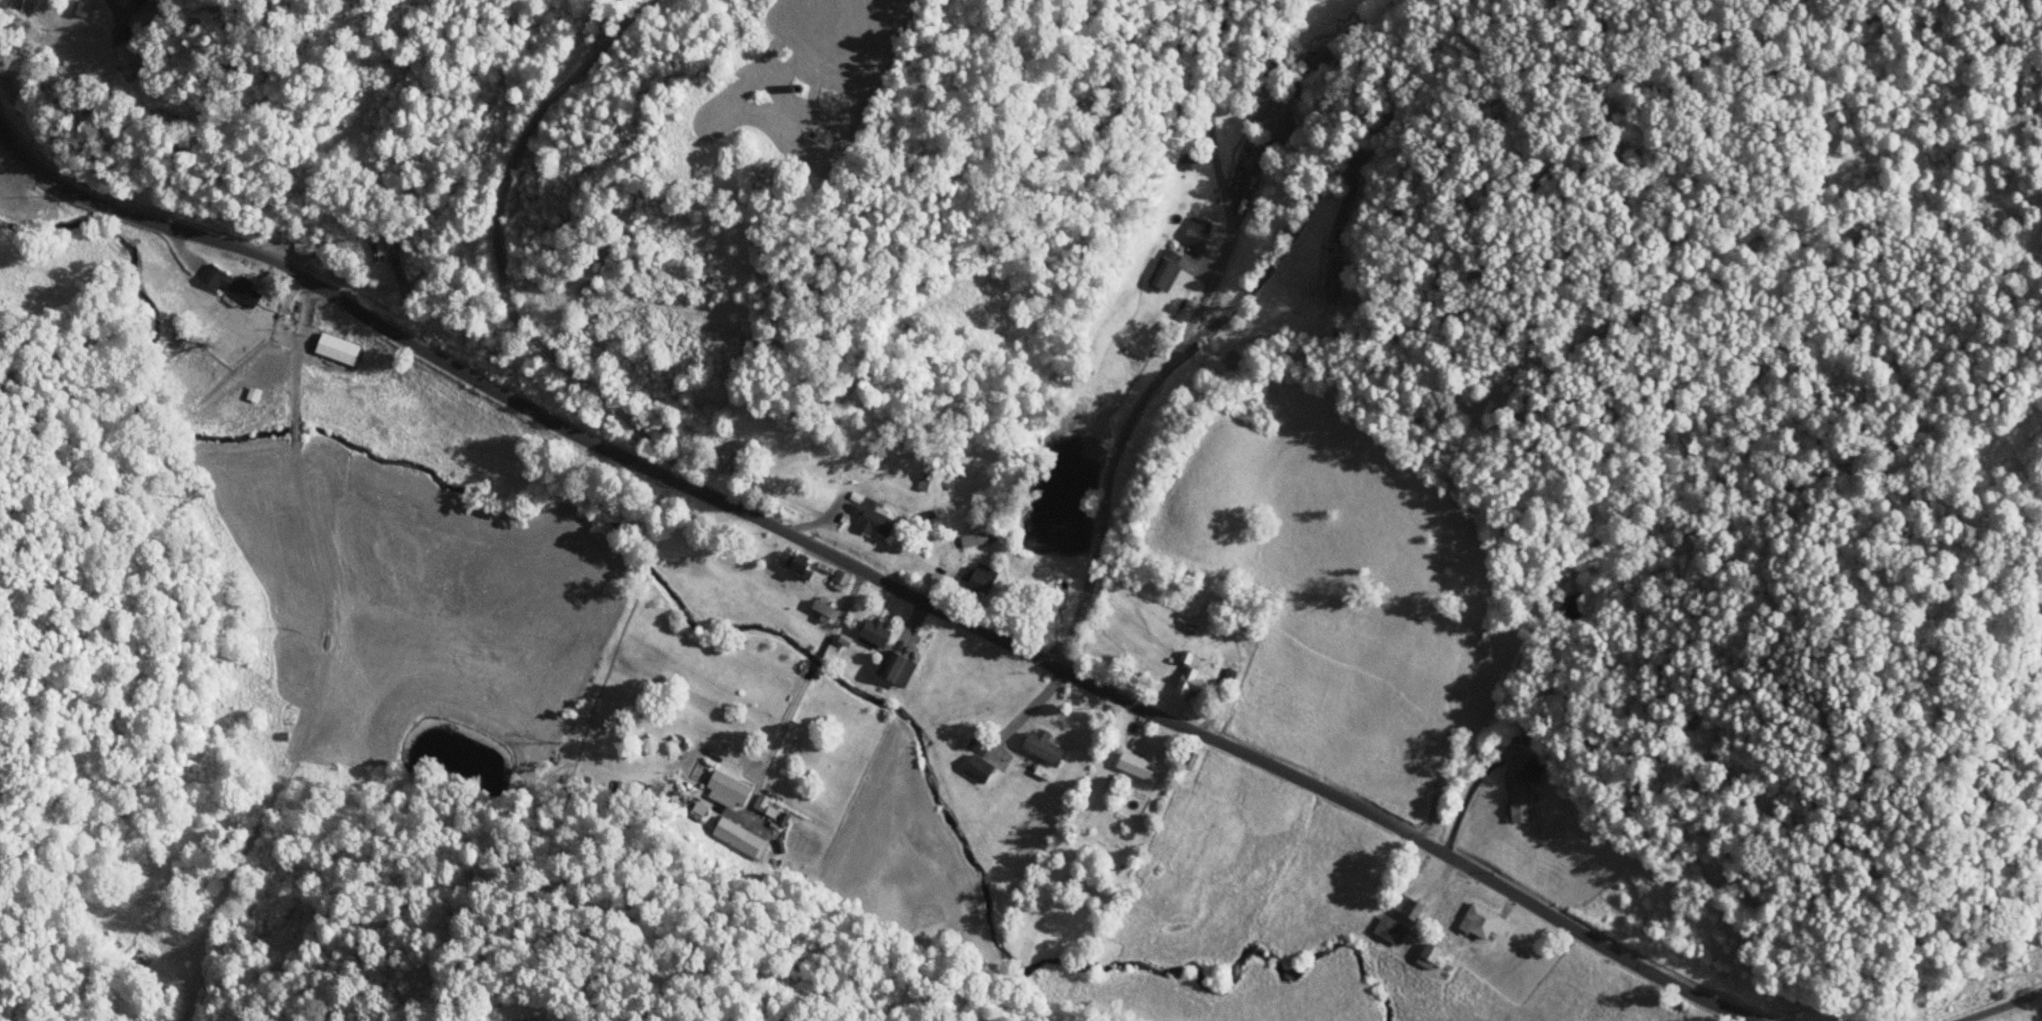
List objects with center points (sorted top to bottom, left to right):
building: (73, 7)
building: (110, 53)
building: (1192, 231)
building: (366, 250)
building: (1327, 281)
building: (238, 291)
building: (329, 348)
building: (864, 515)
building: (972, 537)
building: (787, 563)
building: (976, 575)
road: (877, 576)
building: (834, 579)
building: (817, 609)
building: (867, 632)
building: (888, 667)
building: (1183, 676)
building: (1037, 747)
building: (1129, 764)
building: (971, 767)
building: (1514, 802)
building: (1402, 907)
building: (1474, 921)
building: (1384, 929)
building: (1421, 956)

